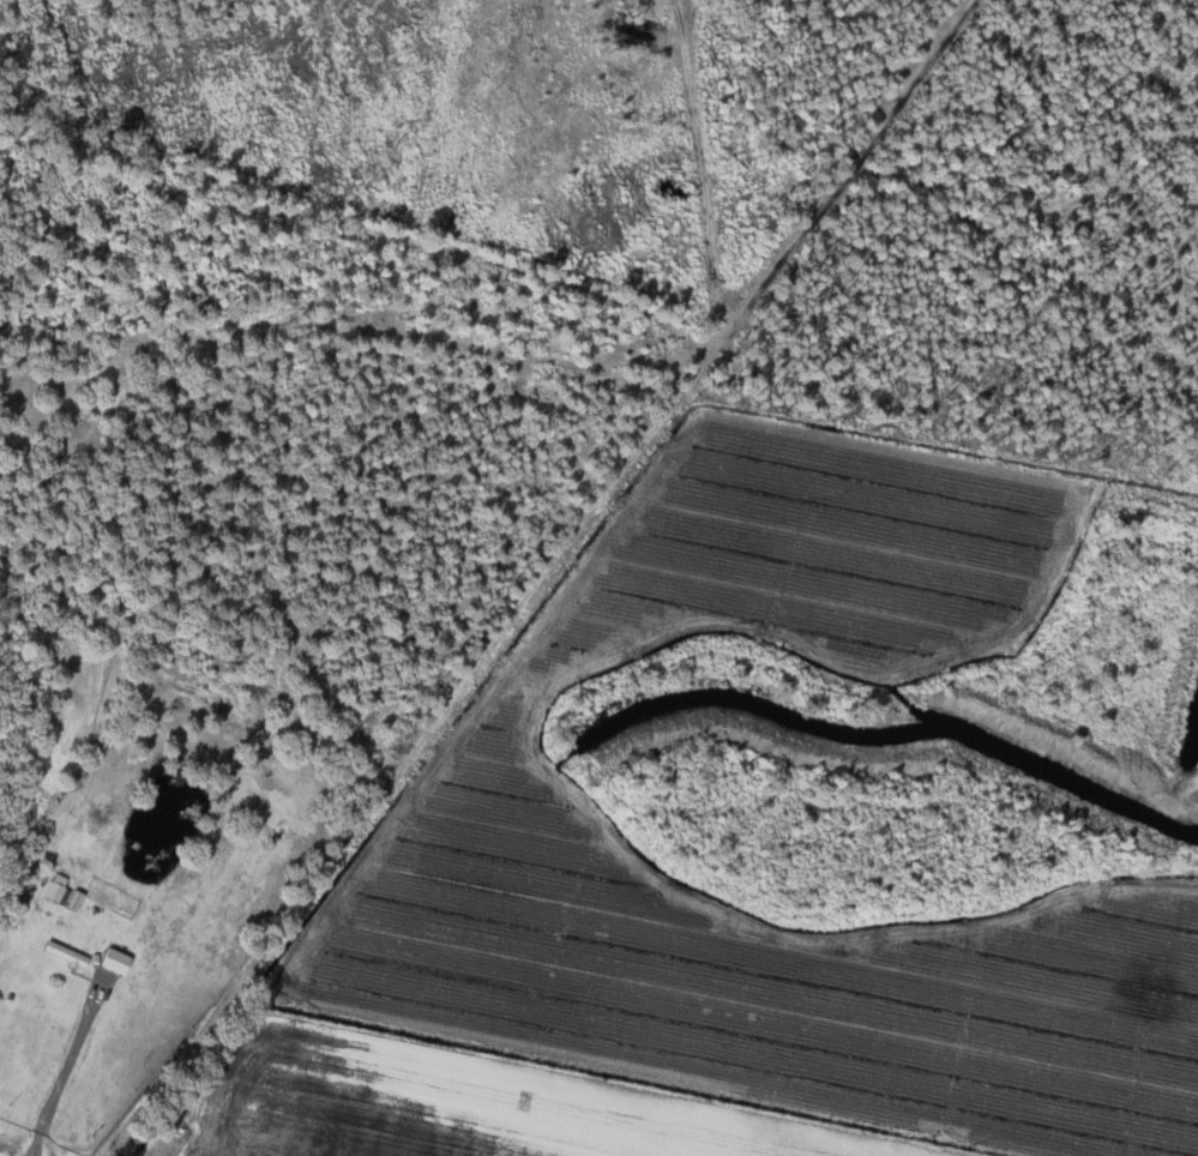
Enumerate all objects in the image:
building: (70, 952)
building: (119, 959)
road: (66, 1067)

